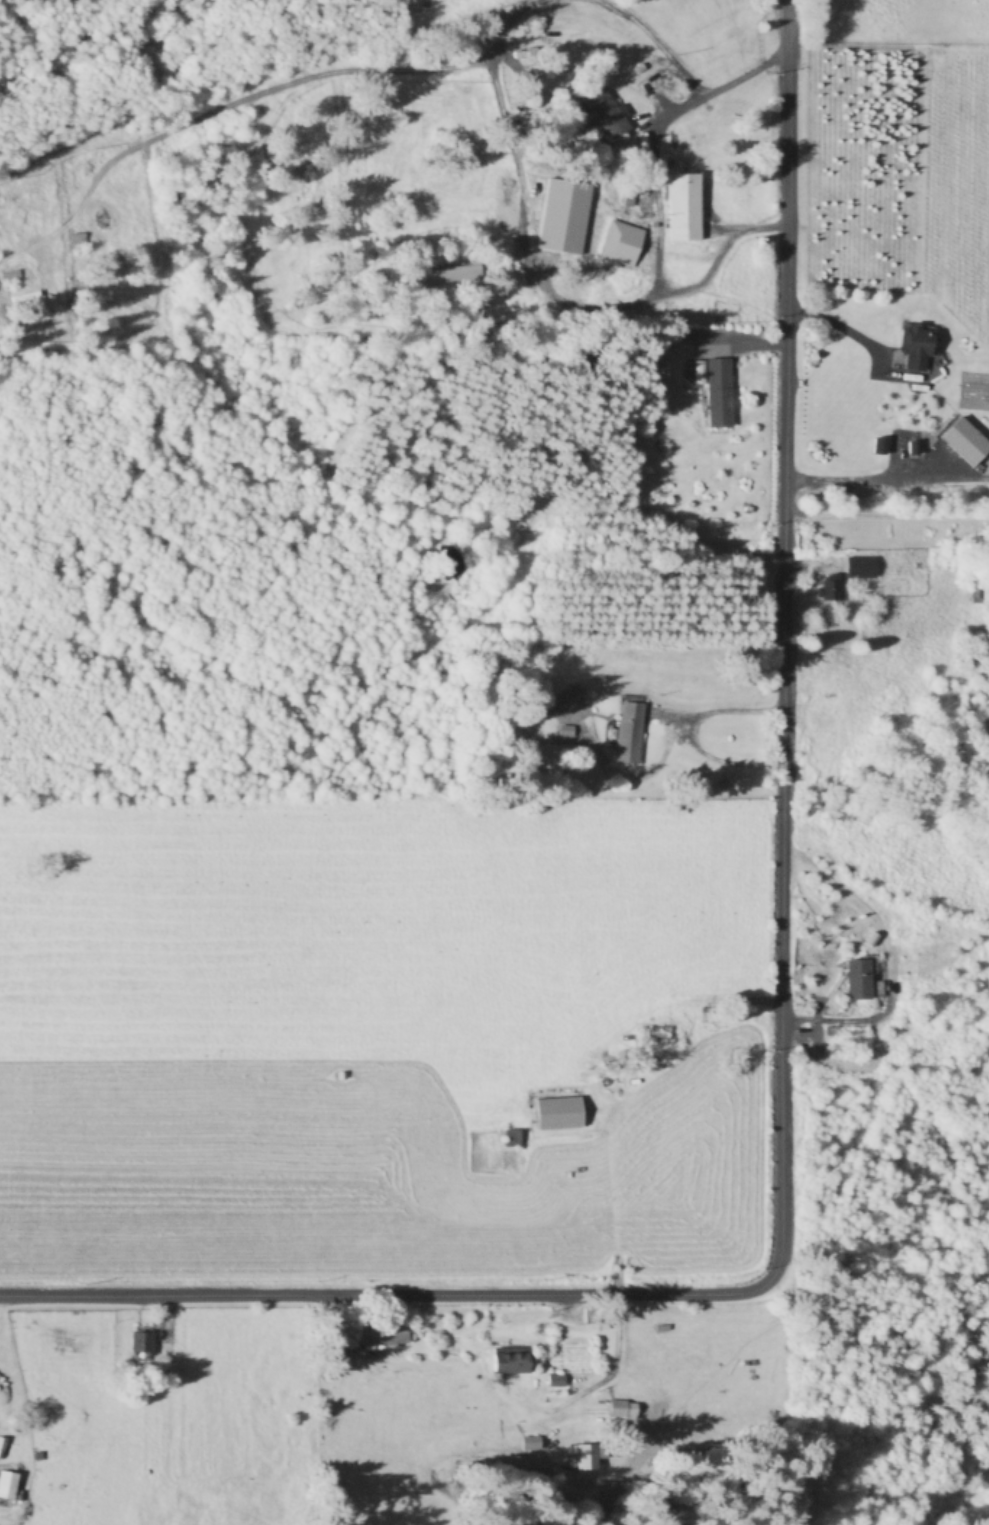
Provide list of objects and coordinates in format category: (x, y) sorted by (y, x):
road: (714, 85)
building: (604, 114)
building: (685, 208)
building: (76, 239)
building: (621, 245)
building: (445, 276)
building: (11, 277)
building: (916, 346)
building: (717, 390)
building: (878, 447)
road: (858, 483)
building: (861, 568)
building: (829, 589)
building: (571, 701)
building: (629, 734)
building: (842, 816)
building: (860, 979)
road: (782, 1027)
building: (661, 1036)
building: (559, 1114)
building: (512, 1139)
road: (612, 1200)
building: (384, 1335)
building: (140, 1344)
building: (510, 1363)
building: (622, 1410)
building: (531, 1443)
building: (1, 1448)
building: (586, 1461)
building: (8, 1486)

